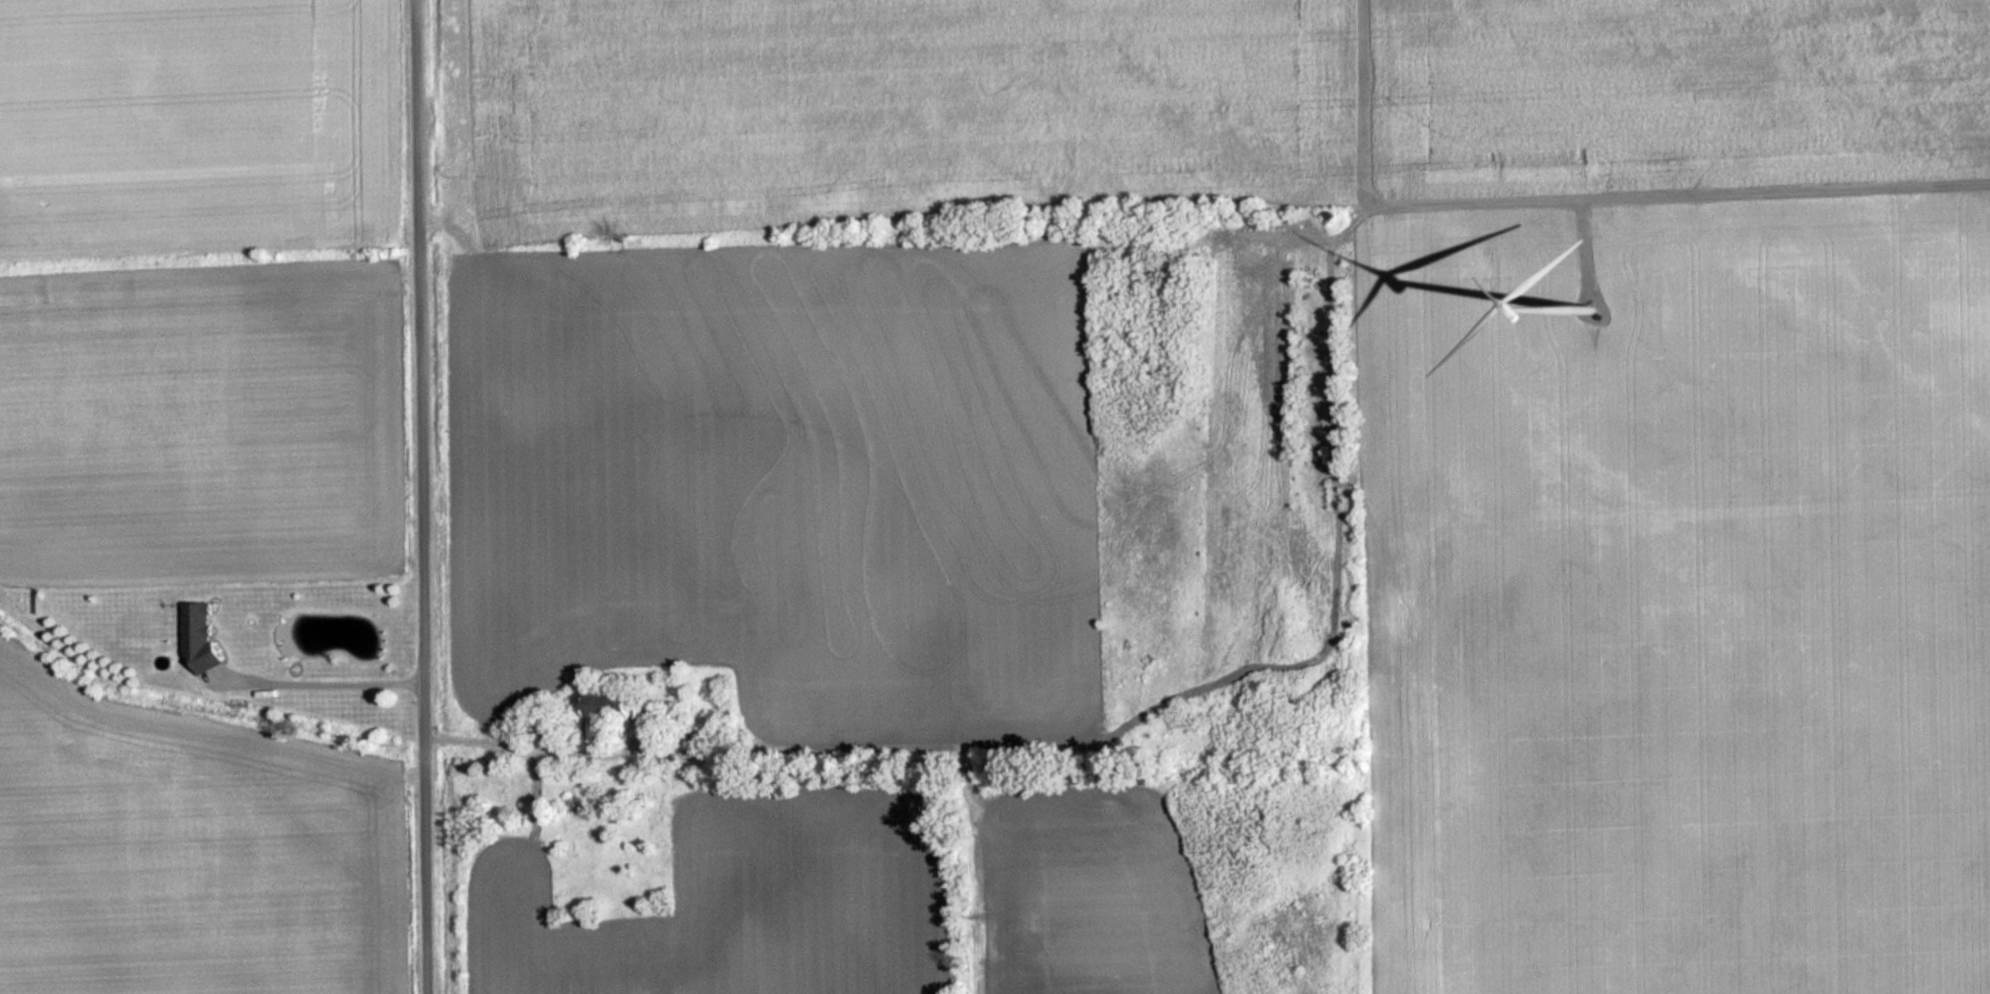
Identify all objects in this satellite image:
road: (1579, 199)
wind turbine: (1605, 308)
road: (422, 497)
building: (204, 635)
building: (610, 711)

